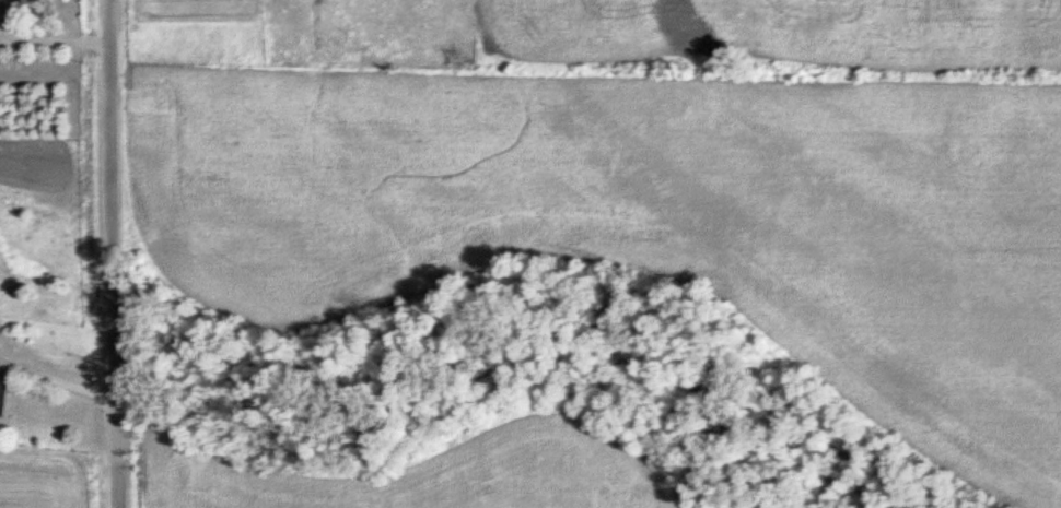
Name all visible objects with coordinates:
building: (1, 3)
road: (109, 253)
building: (5, 394)

